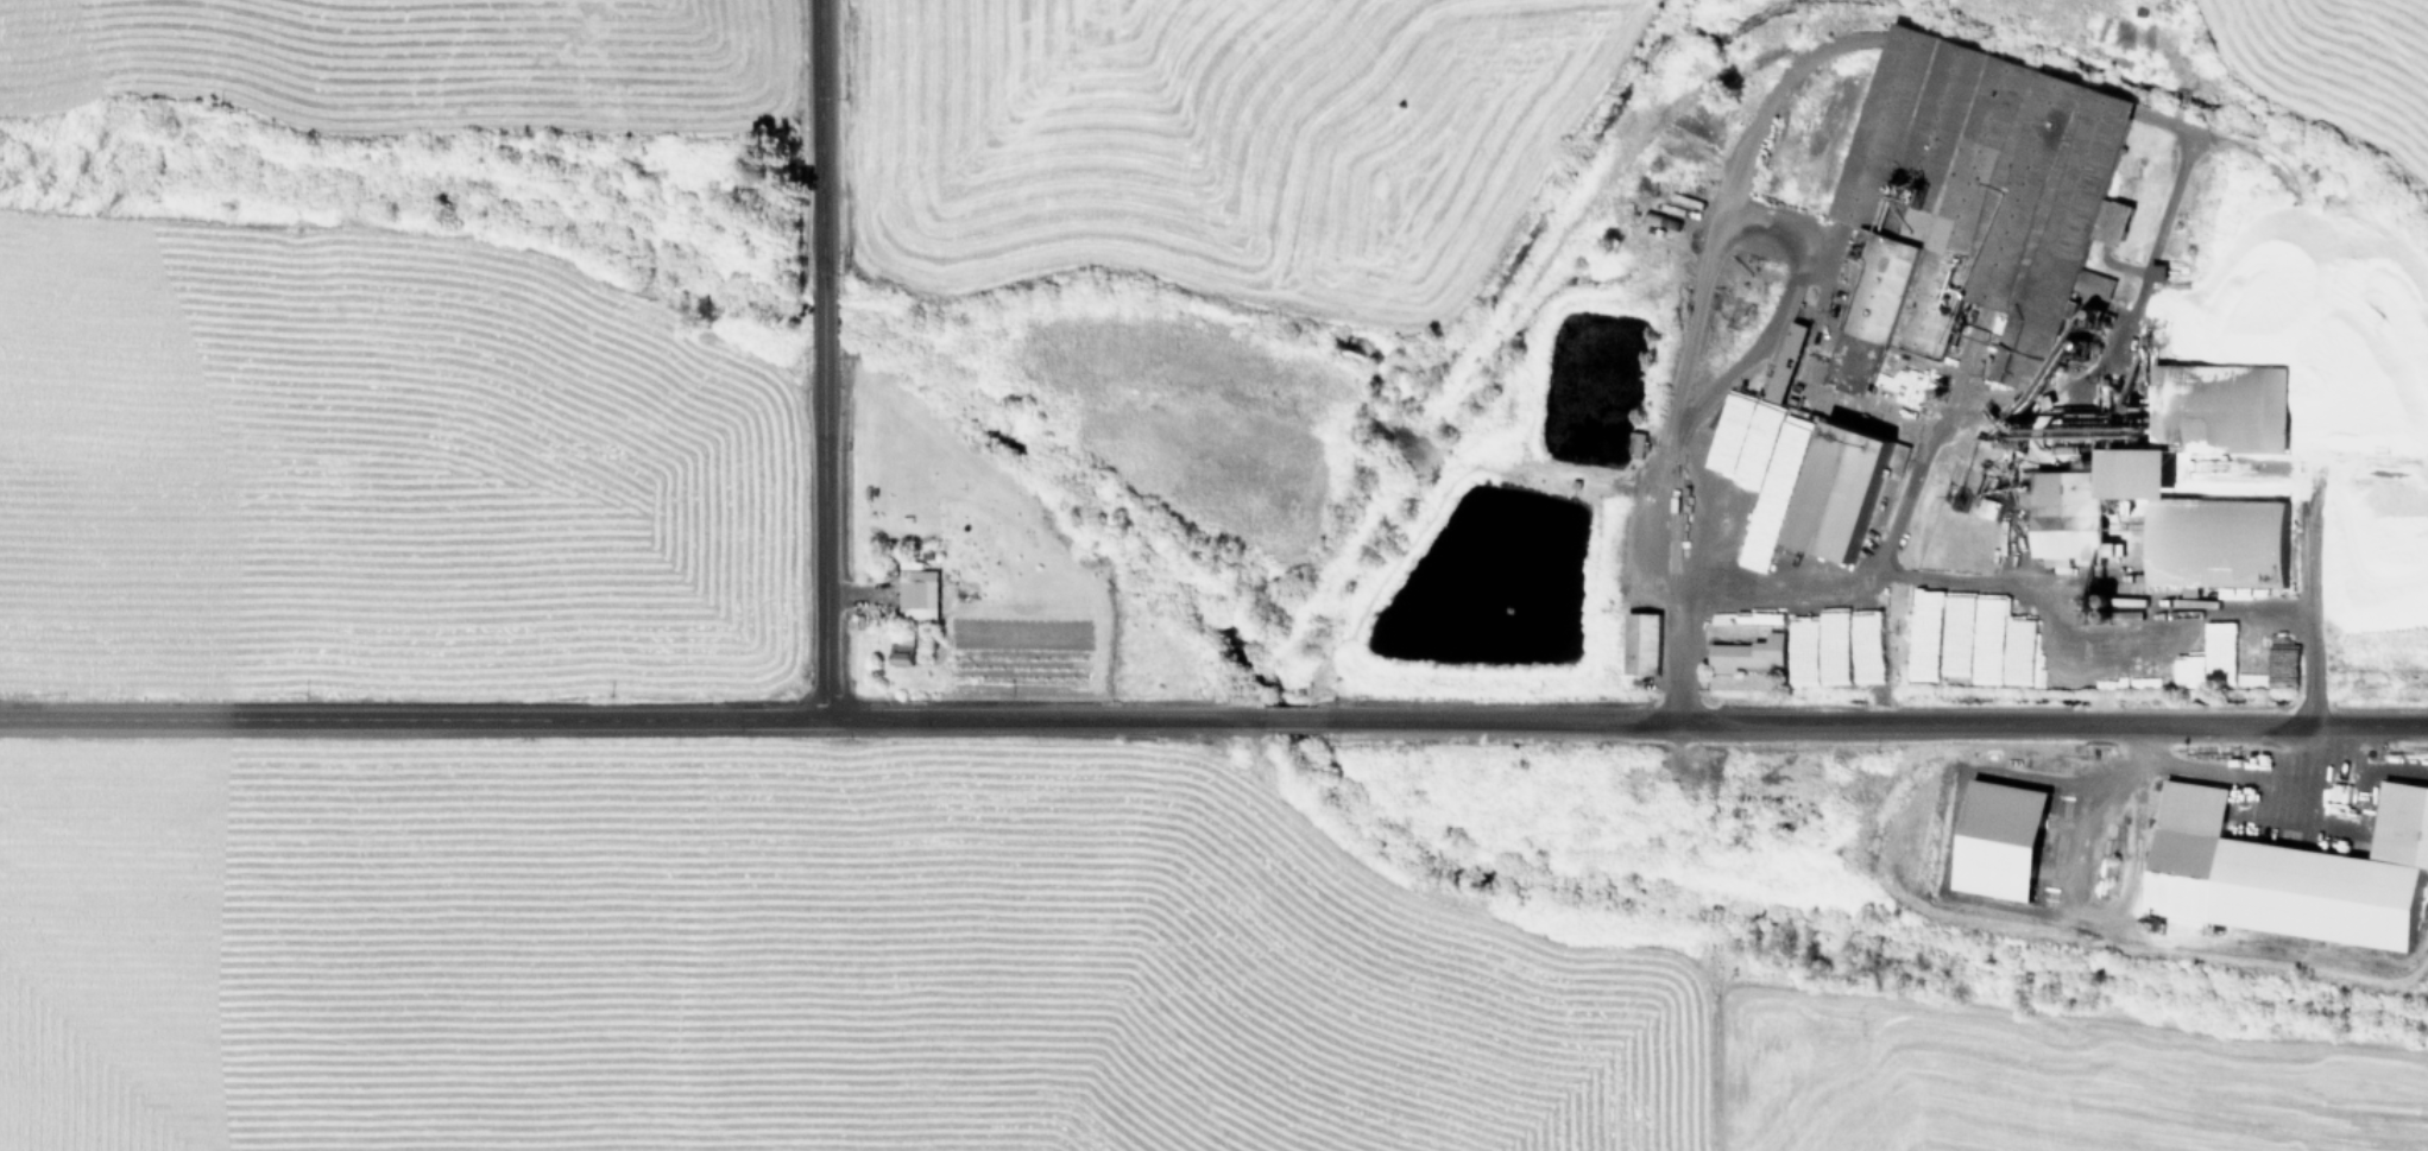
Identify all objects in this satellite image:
road: (814, 125)
building: (2090, 284)
road: (819, 318)
building: (1781, 361)
building: (2237, 399)
building: (1831, 491)
building: (2155, 524)
road: (820, 552)
crop: (1213, 575)
building: (914, 594)
building: (1636, 644)
building: (898, 651)
building: (1742, 654)
road: (1284, 717)
road: (629, 719)
road: (1868, 725)
building: (1994, 840)
building: (2287, 872)

